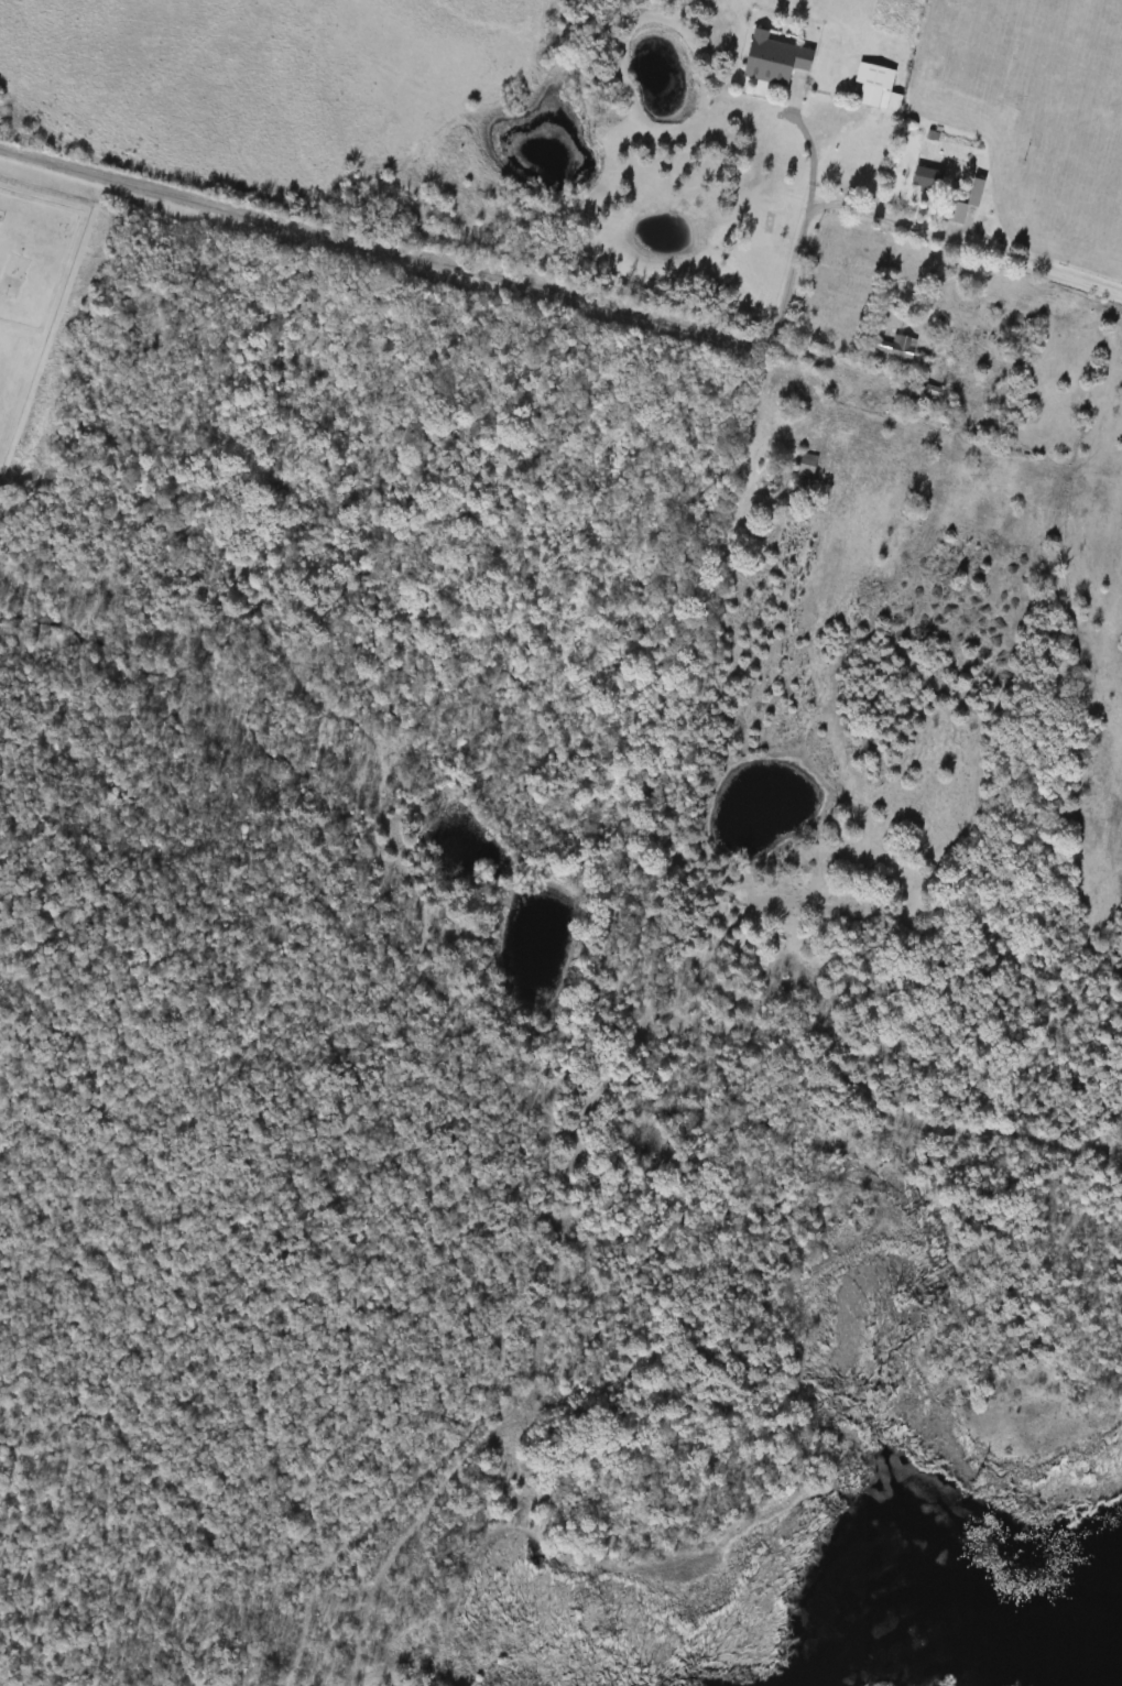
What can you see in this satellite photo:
building: (780, 58)
building: (875, 83)
road: (816, 152)
building: (930, 178)
building: (979, 192)
building: (959, 211)
road: (890, 221)
road: (370, 251)
building: (13, 274)
building: (898, 347)
building: (810, 464)

